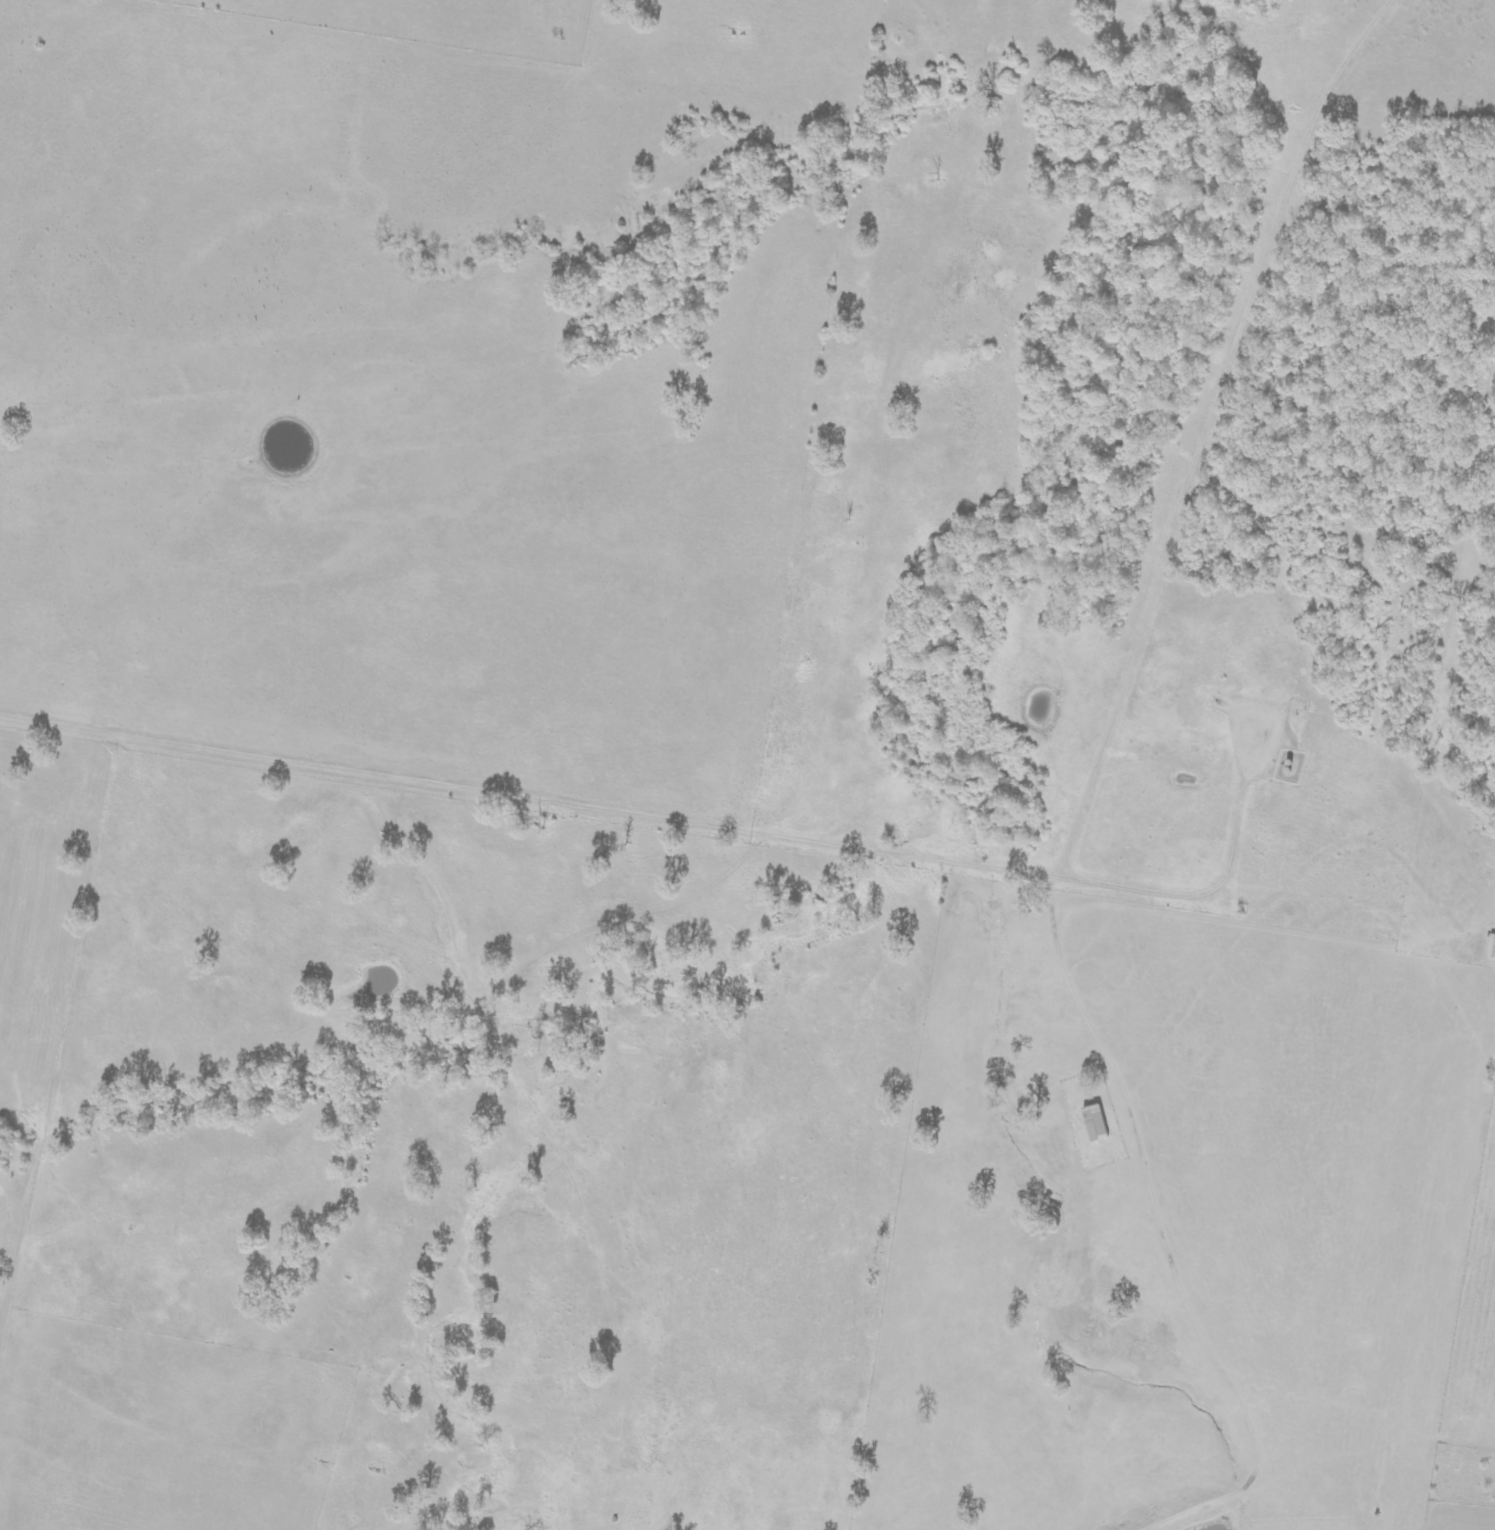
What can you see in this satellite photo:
building: (1099, 1123)

